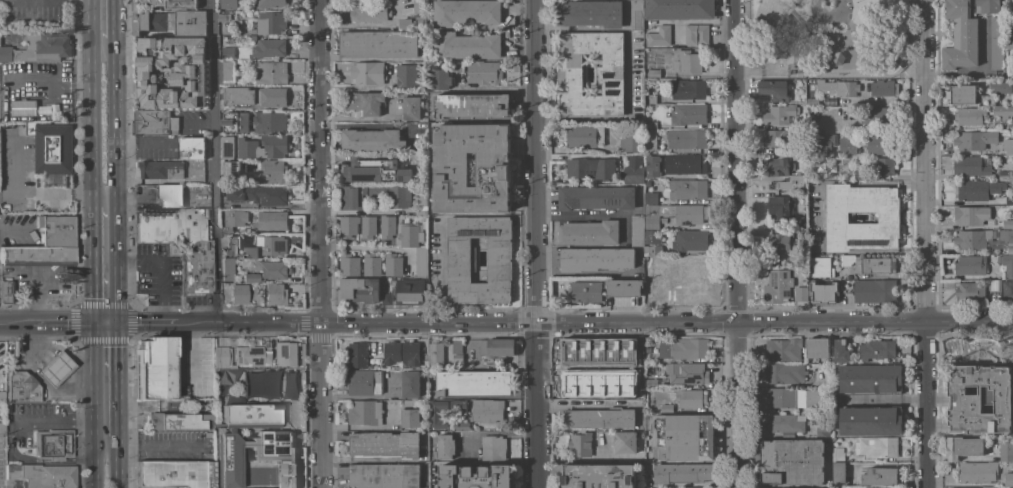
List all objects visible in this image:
building: (165, 3)
building: (271, 3)
building: (228, 4)
building: (987, 6)
building: (679, 9)
building: (366, 10)
building: (466, 12)
building: (590, 13)
building: (636, 14)
building: (224, 16)
road: (101, 19)
road: (835, 19)
building: (149, 21)
building: (270, 22)
building: (190, 23)
building: (406, 23)
building: (1012, 25)
building: (253, 30)
building: (696, 34)
building: (659, 35)
building: (961, 36)
park: (830, 38)
building: (996, 42)
building: (1009, 42)
building: (379, 43)
building: (466, 44)
road: (780, 46)
building: (39, 47)
building: (269, 47)
road: (886, 47)
building: (228, 53)
building: (688, 61)
building: (228, 69)
building: (480, 70)
building: (172, 71)
building: (270, 71)
building: (368, 72)
building: (653, 72)
building: (801, 72)
building: (408, 76)
building: (609, 77)
building: (440, 79)
building: (1000, 85)
building: (839, 87)
building: (883, 87)
building: (688, 89)
building: (774, 89)
building: (968, 95)
building: (254, 96)
building: (650, 98)
road: (885, 100)
building: (813, 101)
building: (364, 102)
building: (472, 105)
building: (411, 107)
building: (802, 107)
building: (24, 108)
building: (1003, 112)
building: (688, 113)
building: (781, 114)
building: (970, 115)
building: (879, 116)
road: (623, 119)
building: (235, 121)
building: (269, 121)
road: (102, 122)
building: (154, 122)
building: (651, 124)
building: (1011, 124)
building: (585, 135)
building: (781, 136)
building: (686, 138)
building: (372, 139)
building: (649, 141)
building: (821, 141)
building: (971, 141)
building: (631, 142)
building: (882, 143)
building: (848, 144)
building: (255, 146)
building: (51, 147)
building: (191, 147)
building: (1009, 148)
road: (214, 162)
building: (684, 163)
building: (883, 164)
building: (653, 165)
building: (972, 165)
building: (778, 166)
building: (591, 167)
building: (161, 168)
building: (231, 168)
building: (375, 169)
building: (494, 169)
building: (633, 169)
building: (272, 170)
building: (861, 174)
building: (1004, 174)
building: (792, 181)
building: (686, 188)
building: (977, 189)
road: (27, 193)
building: (255, 193)
building: (391, 194)
building: (170, 196)
building: (596, 196)
building: (353, 197)
building: (651, 197)
building: (1009, 199)
building: (421, 202)
road: (267, 205)
building: (780, 206)
road: (363, 211)
building: (688, 213)
road: (591, 214)
building: (971, 214)
building: (652, 216)
road: (817, 216)
building: (837, 216)
building: (234, 219)
building: (662, 219)
building: (271, 220)
building: (803, 223)
building: (1007, 224)
building: (348, 225)
building: (662, 225)
building: (368, 226)
building: (387, 226)
building: (637, 227)
building: (55, 230)
building: (589, 232)
building: (408, 233)
building: (653, 236)
building: (803, 238)
building: (982, 238)
building: (690, 240)
building: (179, 242)
building: (780, 242)
road: (320, 243)
road: (534, 243)
road: (738, 243)
road: (927, 244)
building: (256, 246)
road: (369, 247)
building: (653, 249)
building: (36, 256)
building: (461, 258)
building: (596, 258)
road: (118, 261)
road: (148, 261)
building: (421, 261)
building: (1002, 262)
building: (869, 263)
building: (349, 264)
building: (372, 264)
building: (393, 264)
building: (970, 264)
building: (679, 265)
building: (819, 265)
road: (104, 266)
building: (226, 269)
building: (272, 269)
road: (438, 270)
building: (246, 278)
road: (164, 282)
building: (994, 284)
building: (777, 285)
building: (624, 287)
building: (360, 289)
building: (690, 289)
building: (1007, 289)
building: (875, 290)
building: (6, 291)
building: (584, 291)
building: (657, 291)
building: (823, 291)
building: (971, 291)
building: (406, 292)
building: (801, 293)
building: (237, 294)
building: (275, 294)
road: (165, 314)
road: (667, 322)
road: (243, 323)
road: (52, 324)
road: (135, 324)
traffic signals: (105, 325)
building: (457, 346)
building: (817, 347)
building: (684, 348)
building: (784, 348)
building: (497, 349)
building: (877, 349)
building: (840, 350)
building: (392, 352)
building: (1, 353)
building: (411, 353)
building: (436, 353)
building: (581, 353)
building: (285, 354)
building: (358, 354)
building: (250, 356)
building: (220, 357)
building: (457, 359)
building: (470, 362)
building: (54, 369)
building: (153, 369)
building: (615, 372)
building: (782, 372)
building: (687, 373)
building: (870, 377)
building: (365, 381)
building: (472, 382)
building: (631, 383)
building: (651, 383)
road: (105, 384)
building: (264, 384)
building: (412, 384)
building: (582, 384)
building: (286, 385)
building: (20, 388)
building: (1, 397)
building: (689, 397)
building: (794, 397)
building: (980, 399)
building: (458, 405)
building: (666, 408)
building: (827, 408)
building: (370, 410)
building: (488, 410)
building: (248, 412)
building: (445, 417)
building: (600, 417)
building: (410, 418)
road: (62, 420)
building: (870, 420)
building: (179, 422)
building: (786, 422)
building: (1, 428)
building: (823, 430)
road: (495, 433)
building: (683, 436)
building: (624, 442)
building: (52, 444)
building: (385, 444)
building: (579, 445)
road: (154, 446)
building: (446, 446)
building: (876, 446)
building: (493, 447)
building: (964, 447)
building: (1006, 449)
road: (97, 452)
road: (111, 452)
building: (837, 454)
building: (256, 457)
building: (792, 461)
road: (31, 462)
building: (977, 471)
building: (683, 472)
building: (838, 472)
road: (90, 474)
road: (117, 474)
building: (175, 474)
building: (385, 475)
building: (1009, 475)
building: (42, 476)
building: (476, 476)
building: (598, 476)
building: (881, 476)
building: (694, 487)
building: (839, 487)
building: (878, 487)
building: (964, 487)
building: (987, 487)

